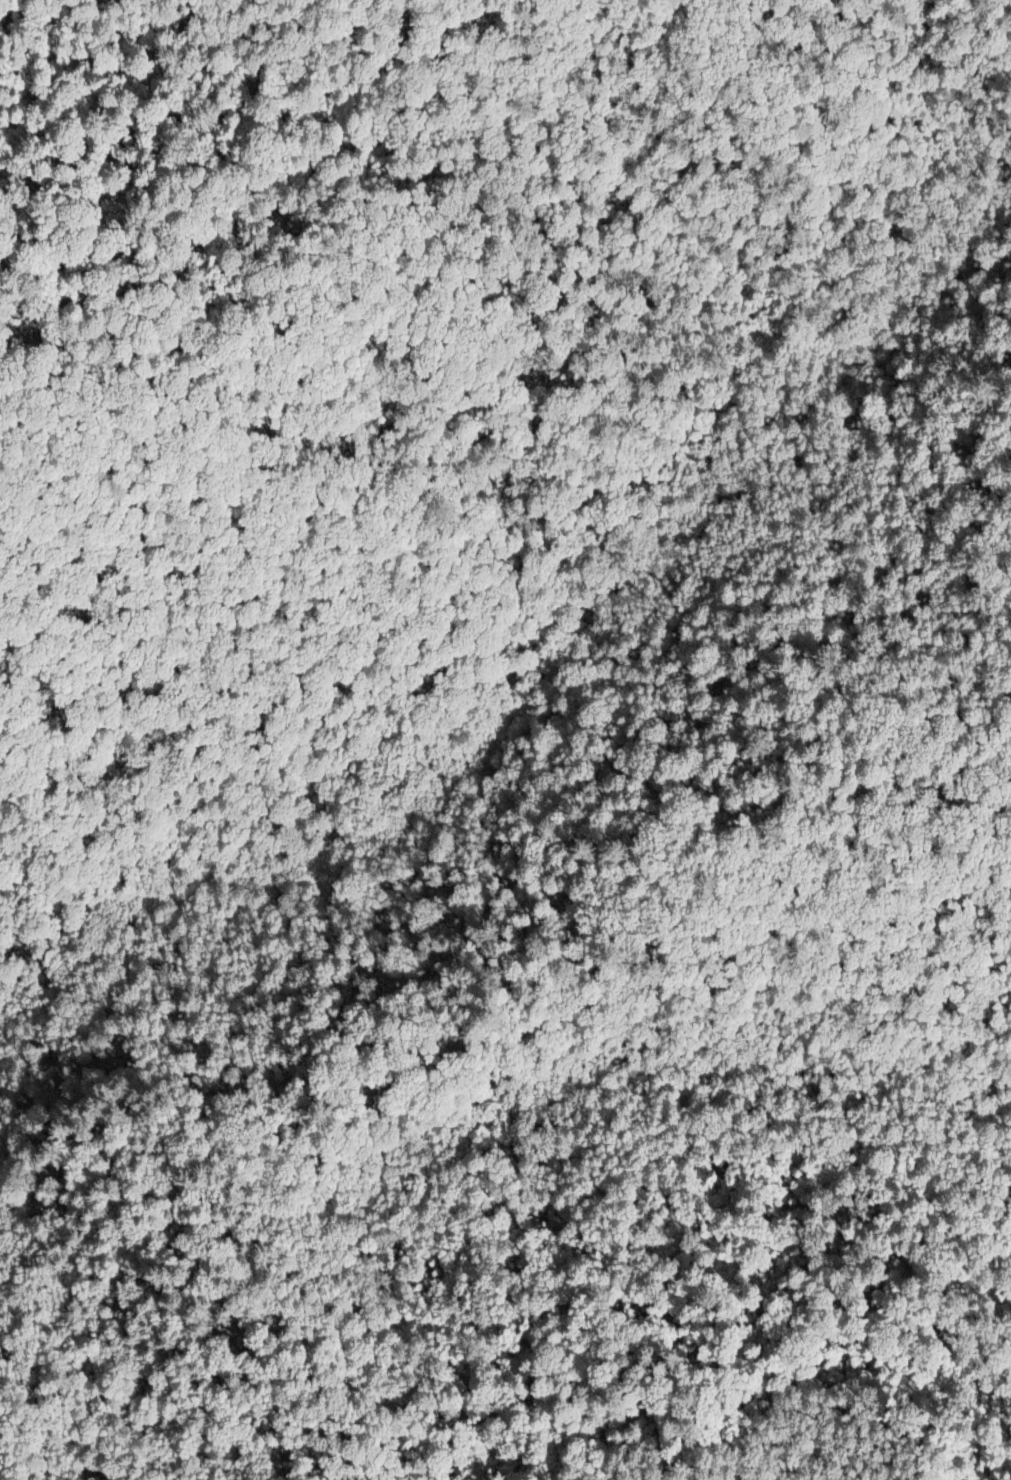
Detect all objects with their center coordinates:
road: (421, 1283)

